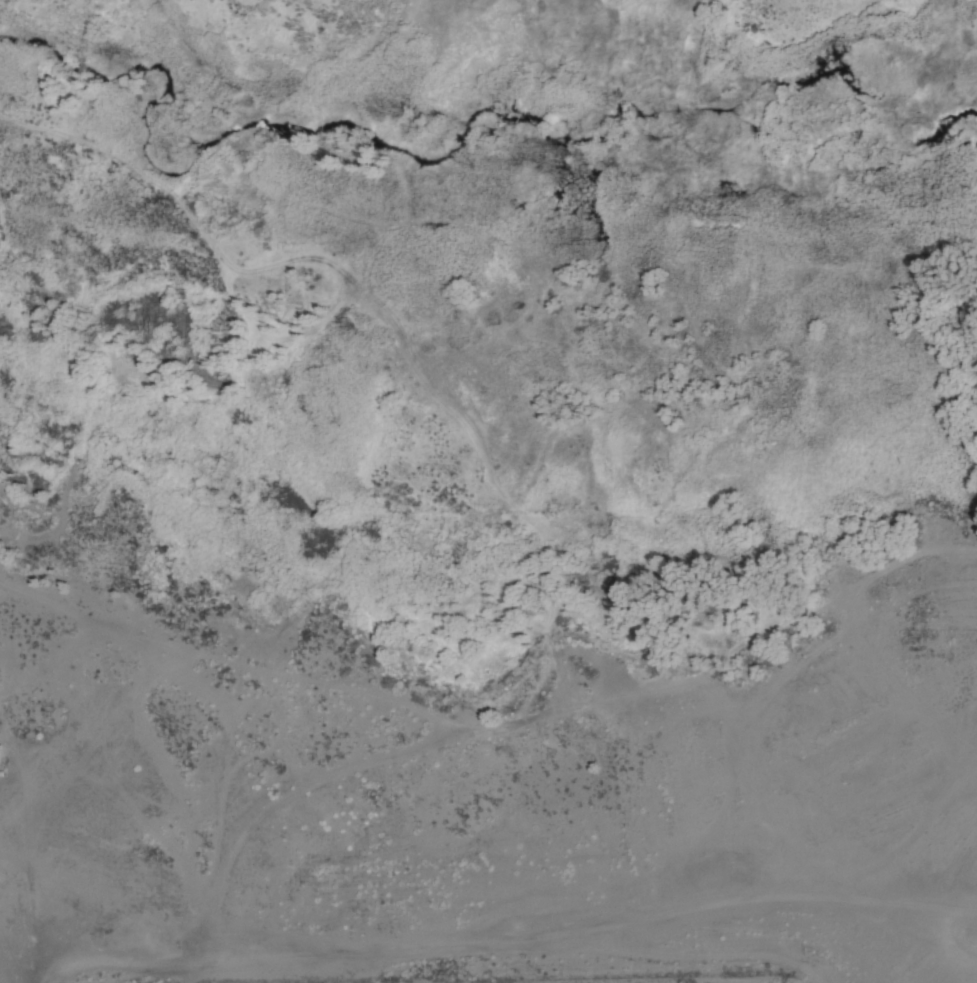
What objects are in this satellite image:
road: (232, 658)
road: (540, 710)
road: (508, 935)
airport: (609, 977)

